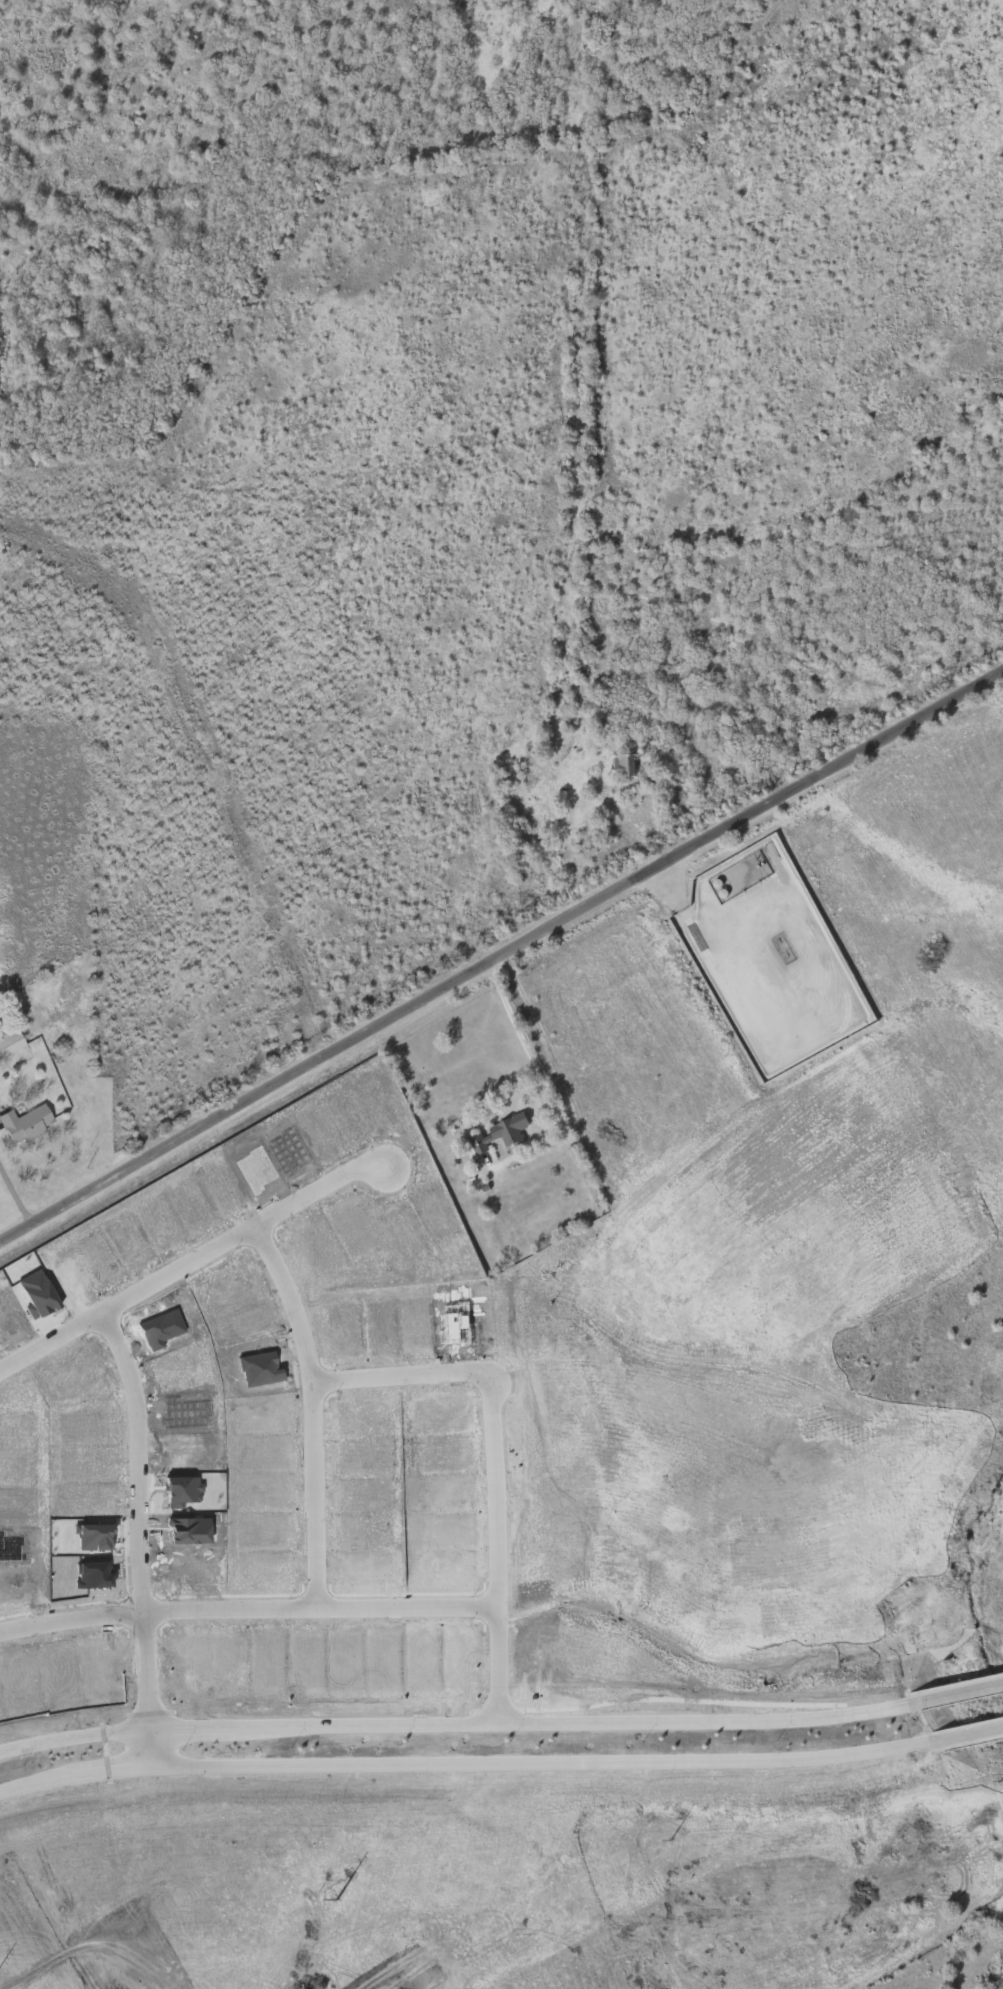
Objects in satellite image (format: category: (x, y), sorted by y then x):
building: (624, 768)
road: (646, 839)
road: (502, 967)
building: (11, 1044)
road: (529, 1046)
building: (379, 1095)
building: (351, 1119)
building: (317, 1134)
building: (499, 1135)
building: (289, 1151)
building: (258, 1170)
road: (329, 1184)
building: (226, 1187)
road: (17, 1197)
building: (195, 1207)
building: (164, 1222)
building: (354, 1226)
building: (398, 1229)
building: (132, 1247)
road: (189, 1264)
building: (237, 1285)
building: (41, 1294)
road: (303, 1296)
building: (10, 1313)
building: (458, 1325)
building: (250, 1327)
building: (421, 1328)
building: (163, 1331)
building: (383, 1332)
building: (343, 1334)
road: (56, 1339)
building: (261, 1369)
road: (411, 1373)
building: (83, 1377)
building: (266, 1411)
building: (188, 1414)
building: (360, 1423)
building: (15, 1427)
building: (95, 1428)
building: (268, 1452)
road: (149, 1453)
building: (15, 1469)
road: (505, 1484)
building: (183, 1491)
road: (326, 1492)
building: (10, 1508)
building: (187, 1530)
building: (95, 1538)
building: (11, 1548)
building: (95, 1576)
building: (12, 1587)
road: (419, 1604)
road: (243, 1606)
road: (78, 1618)
road: (509, 1660)
road: (158, 1666)
building: (61, 1673)
building: (25, 1675)
road: (956, 1693)
road: (453, 1719)
road: (960, 1732)
road: (161, 1742)
road: (457, 1760)

